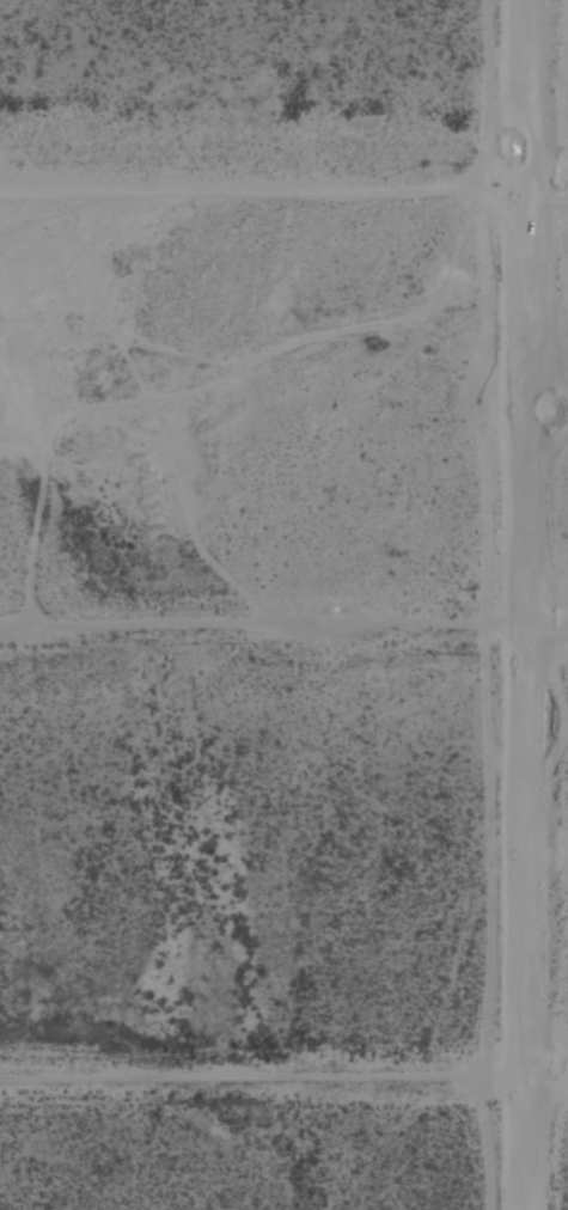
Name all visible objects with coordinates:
road: (531, 605)

